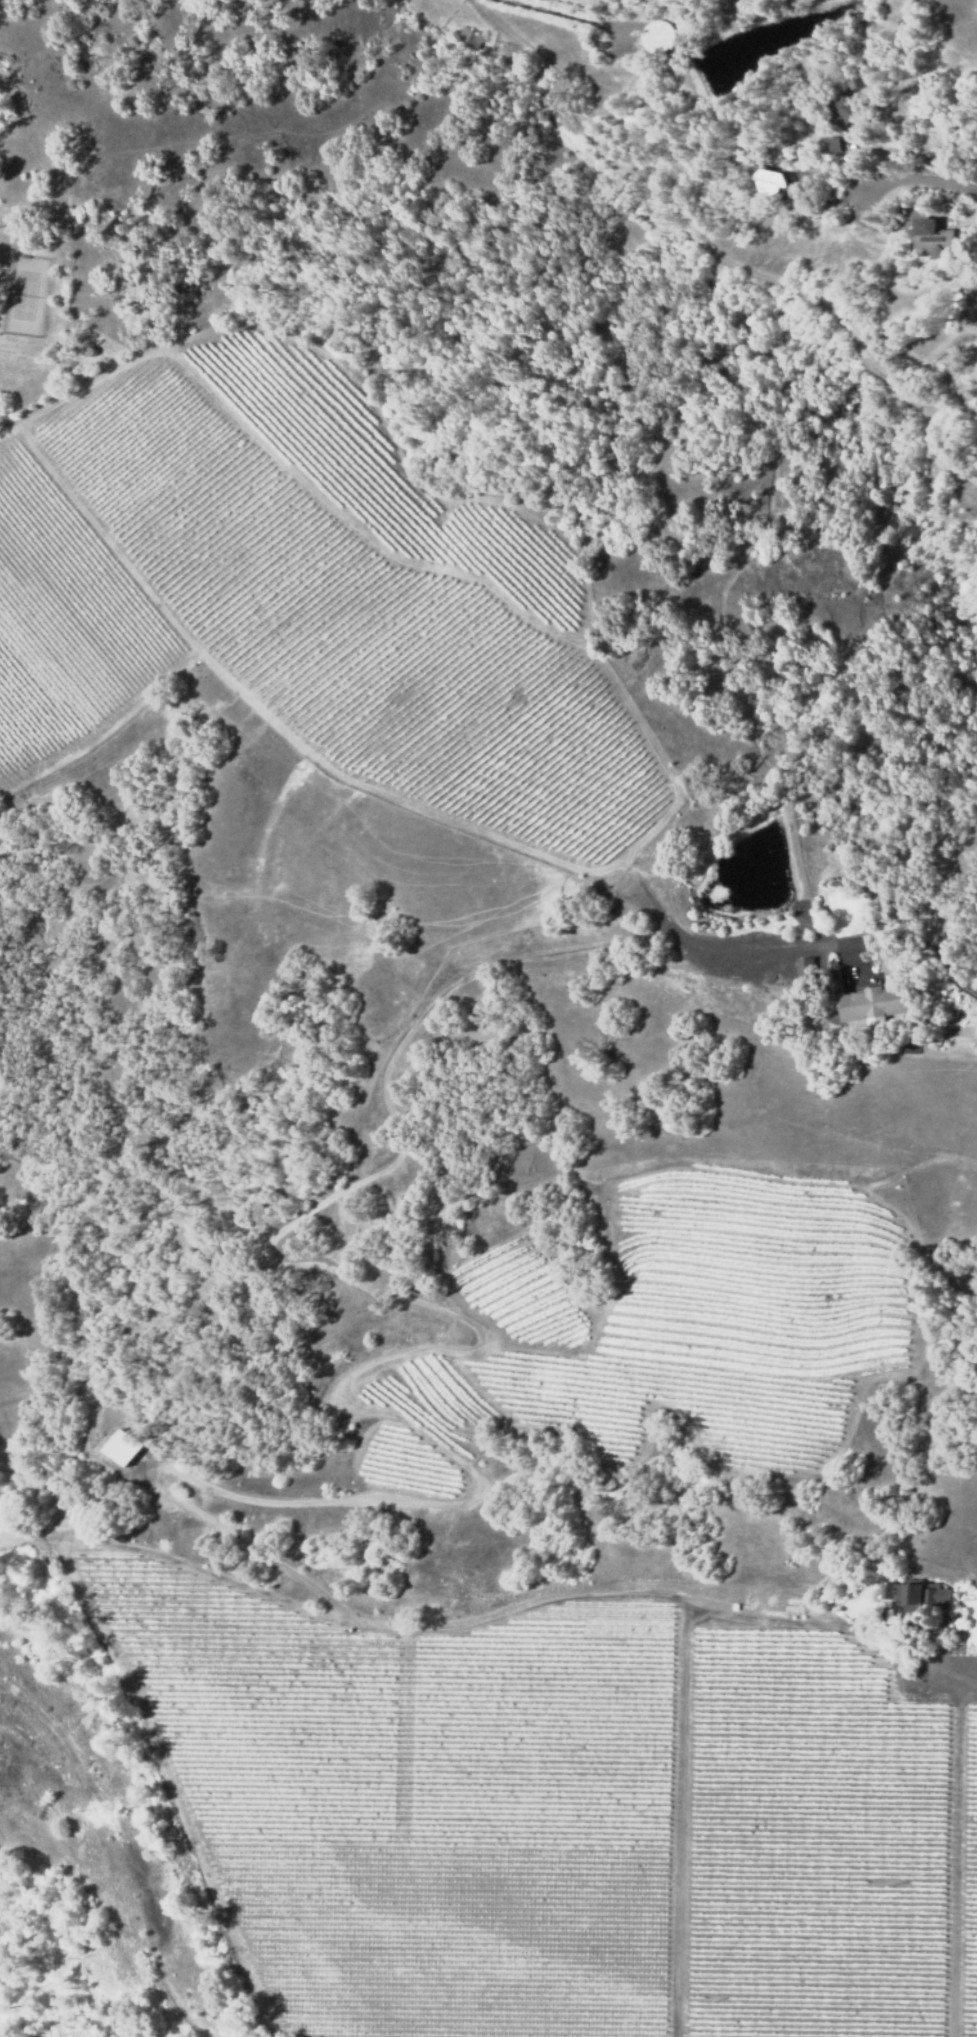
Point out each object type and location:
building: (656, 36)
building: (468, 38)
building: (842, 110)
building: (833, 145)
building: (818, 173)
building: (775, 182)
road: (909, 184)
building: (934, 237)
road: (719, 255)
building: (907, 917)
building: (803, 969)
building: (806, 983)
building: (877, 1004)
building: (121, 1449)
building: (917, 1596)

